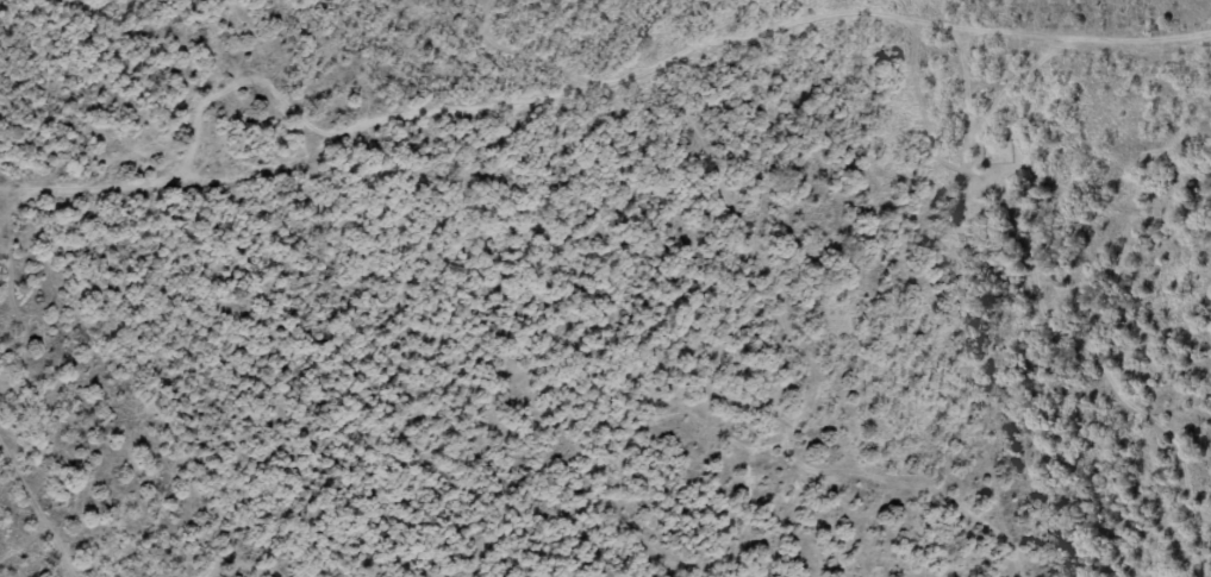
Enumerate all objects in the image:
road: (608, 108)

